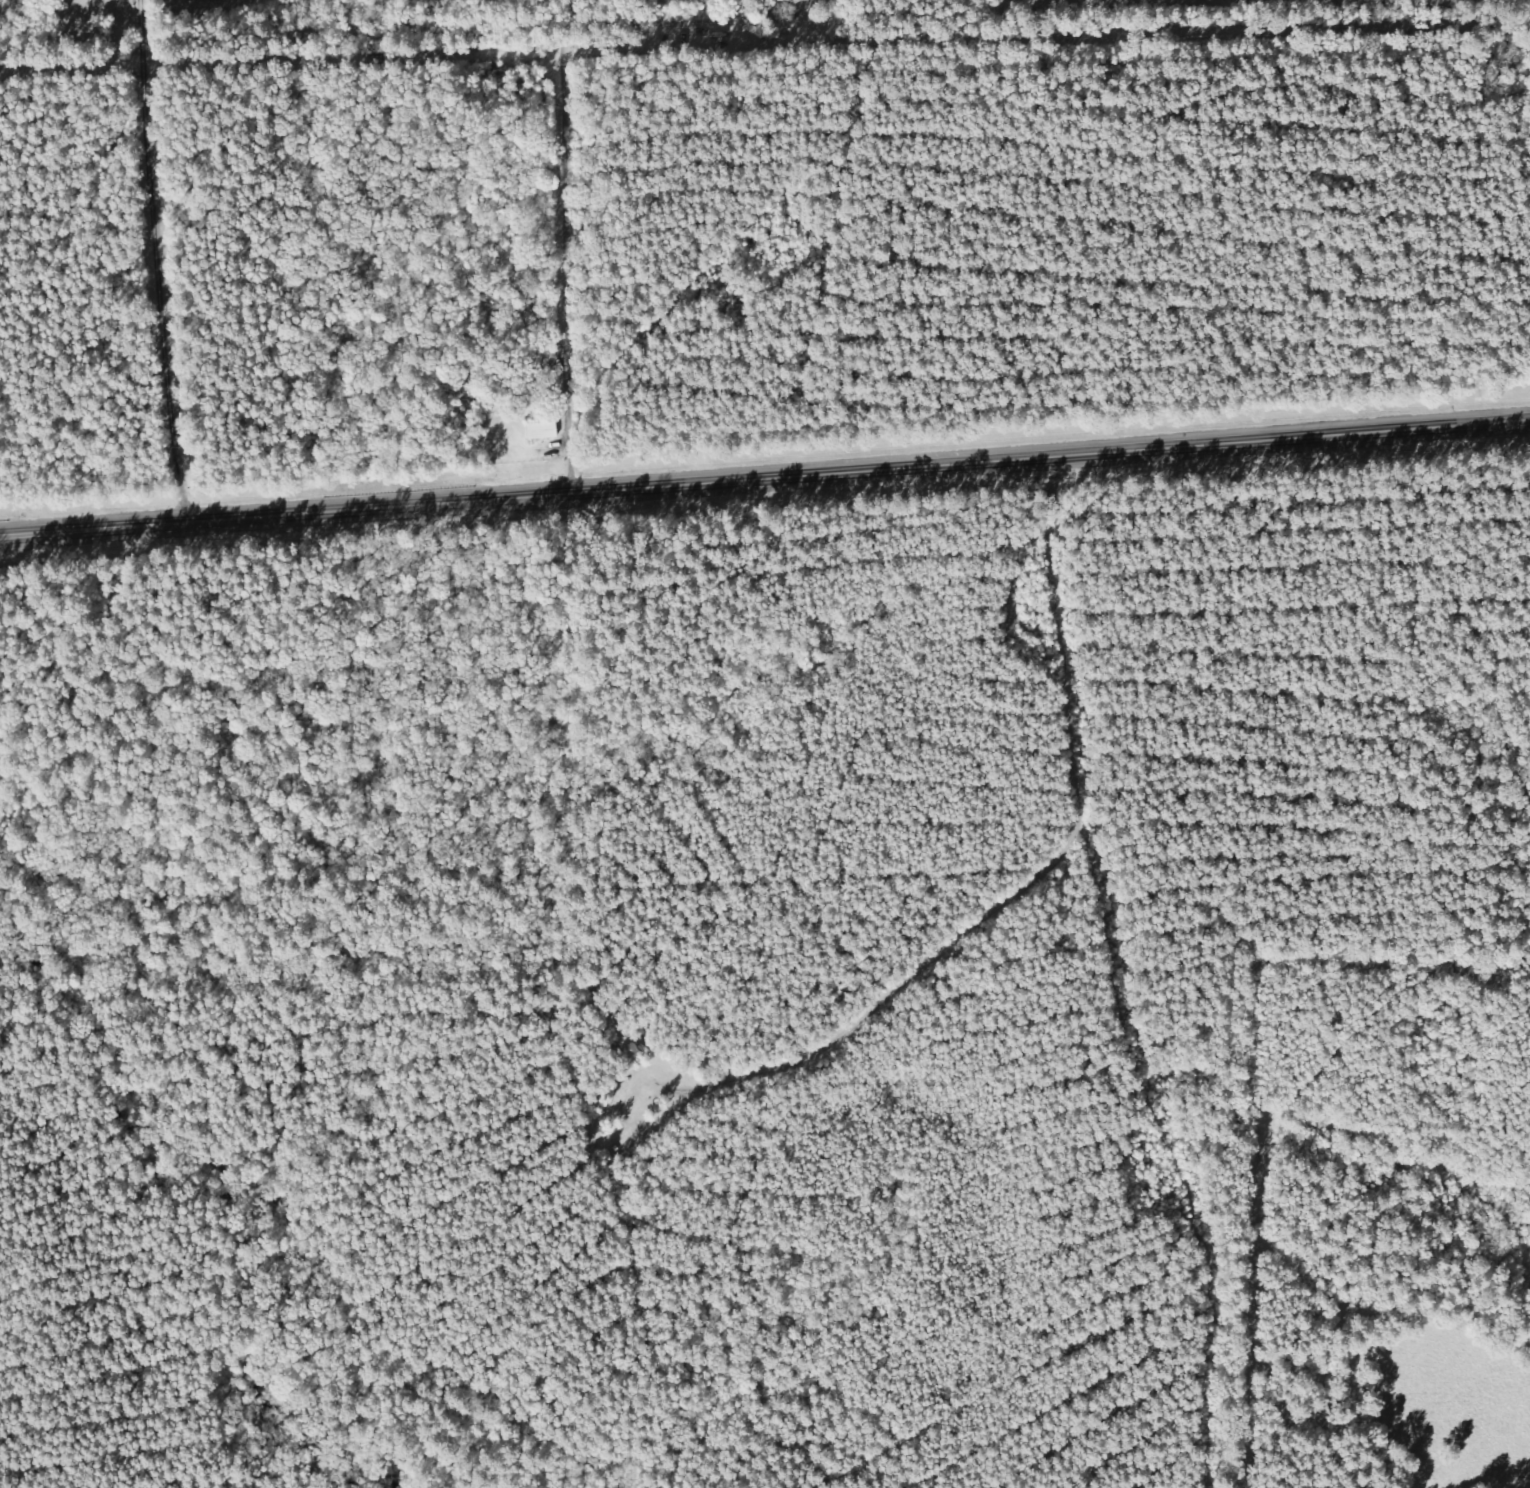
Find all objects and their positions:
road: (649, 20)
road: (60, 224)
road: (580, 246)
road: (764, 479)

